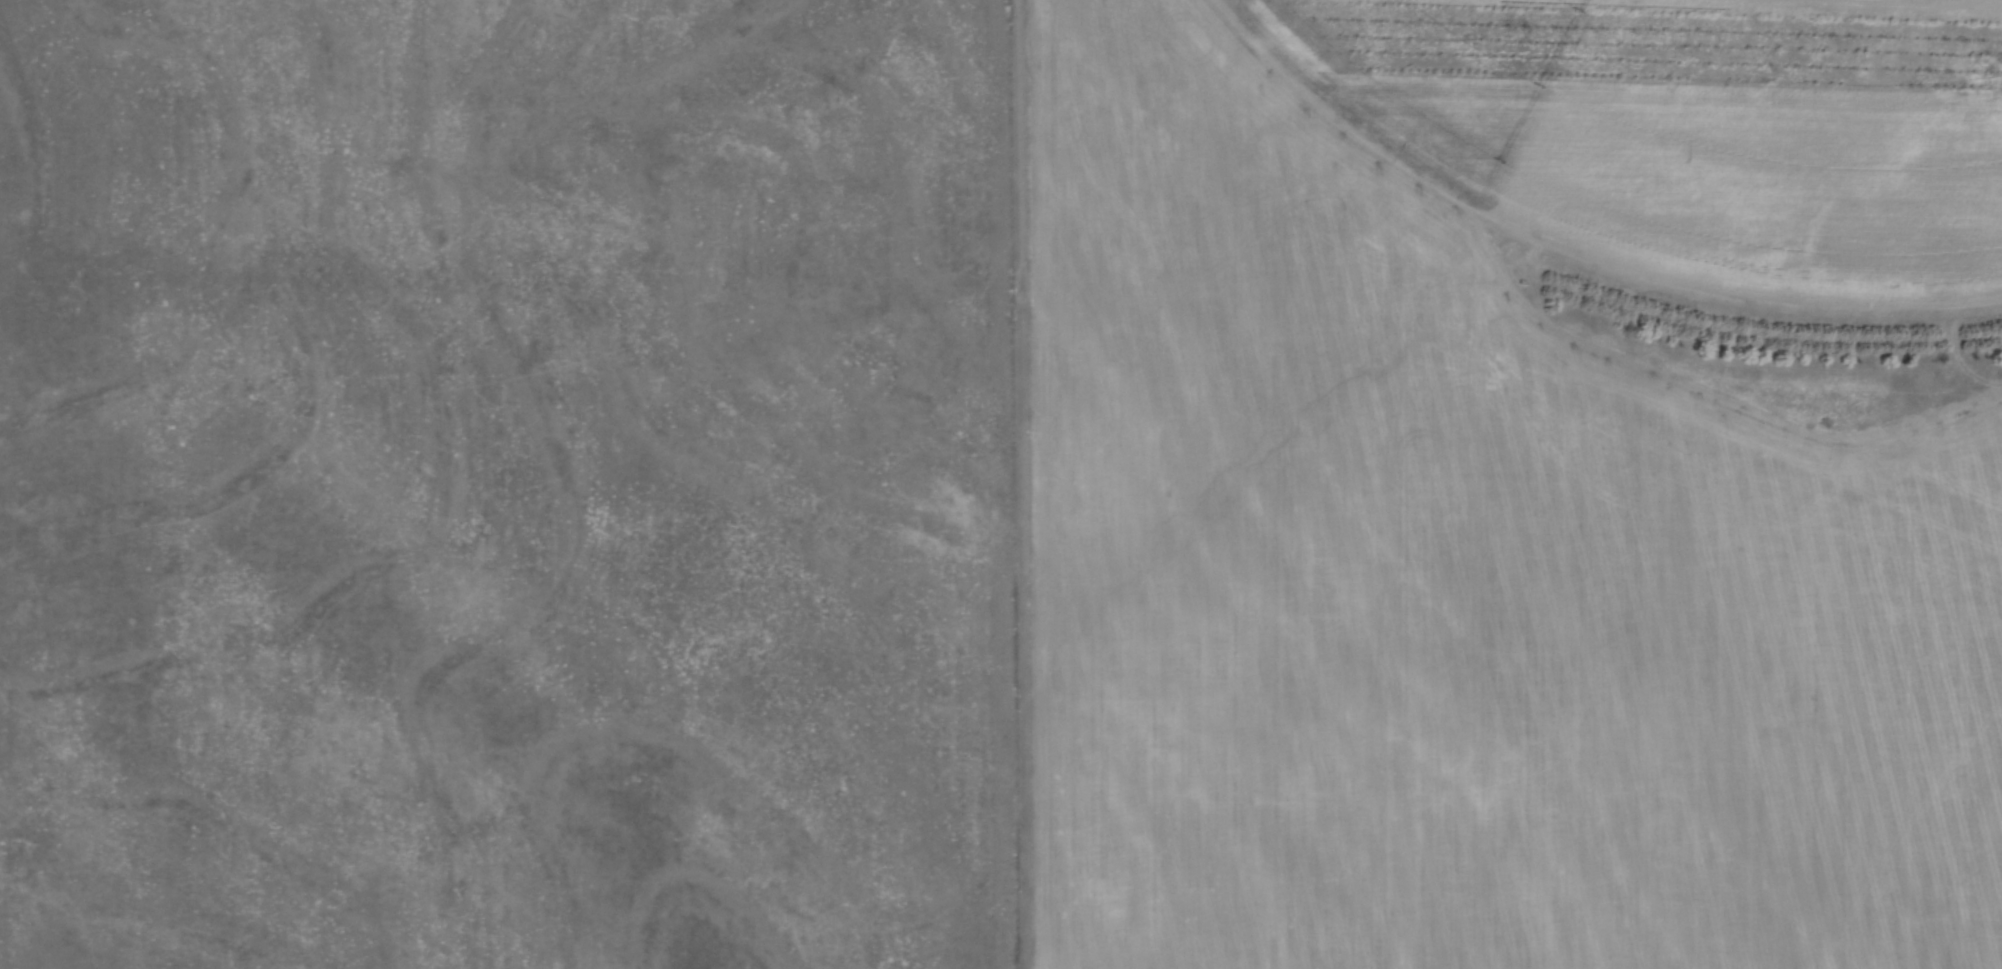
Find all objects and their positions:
crop: (1497, 496)

